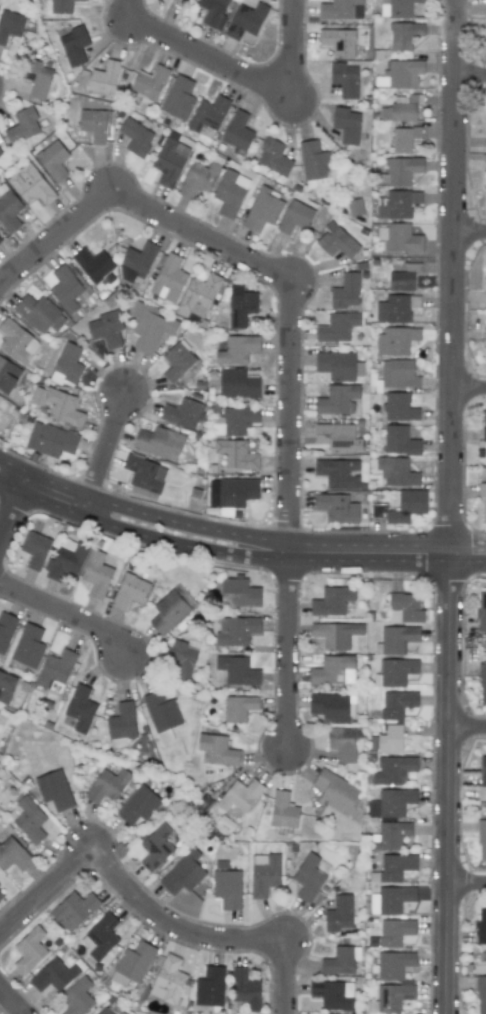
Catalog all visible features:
building: (61, 6)
building: (398, 8)
building: (341, 9)
building: (213, 12)
building: (246, 20)
building: (10, 25)
building: (404, 35)
building: (338, 42)
building: (74, 45)
road: (245, 74)
building: (400, 74)
road: (472, 74)
building: (37, 78)
building: (104, 78)
building: (345, 79)
building: (149, 82)
building: (178, 98)
building: (401, 108)
building: (209, 114)
building: (93, 124)
building: (346, 124)
building: (22, 126)
building: (237, 131)
building: (136, 137)
building: (403, 138)
building: (0, 154)
building: (273, 157)
building: (53, 160)
building: (170, 160)
building: (485, 163)
building: (315, 165)
building: (402, 170)
building: (198, 179)
building: (30, 185)
building: (230, 192)
building: (485, 197)
building: (398, 204)
building: (262, 210)
building: (9, 211)
building: (295, 217)
road: (471, 228)
building: (399, 237)
building: (0, 240)
building: (336, 241)
building: (139, 257)
road: (260, 258)
building: (93, 264)
building: (485, 265)
building: (404, 277)
building: (169, 279)
building: (67, 290)
building: (346, 291)
building: (199, 295)
building: (485, 297)
building: (241, 306)
building: (396, 308)
building: (37, 311)
building: (337, 327)
building: (106, 328)
building: (152, 328)
building: (485, 336)
building: (396, 340)
building: (17, 342)
building: (237, 350)
building: (178, 361)
building: (336, 365)
building: (67, 366)
building: (399, 374)
building: (8, 375)
building: (238, 383)
road: (470, 385)
building: (338, 399)
building: (59, 406)
building: (400, 407)
building: (0, 412)
building: (183, 413)
building: (235, 421)
building: (484, 426)
building: (338, 437)
building: (51, 440)
building: (400, 441)
building: (159, 443)
road: (107, 454)
building: (237, 454)
building: (397, 471)
building: (337, 472)
building: (145, 473)
building: (236, 492)
building: (483, 500)
road: (13, 503)
road: (127, 505)
building: (408, 506)
road: (453, 506)
building: (337, 508)
road: (128, 528)
building: (35, 549)
road: (371, 555)
building: (66, 560)
building: (96, 575)
building: (130, 591)
building: (239, 593)
building: (332, 601)
building: (405, 608)
road: (67, 612)
building: (168, 612)
building: (481, 612)
building: (6, 630)
building: (236, 631)
building: (336, 634)
building: (397, 639)
building: (28, 646)
road: (290, 651)
building: (183, 657)
building: (237, 670)
building: (333, 670)
building: (55, 671)
building: (394, 672)
building: (483, 684)
building: (6, 686)
building: (397, 703)
building: (332, 707)
building: (80, 708)
building: (238, 708)
building: (161, 715)
building: (121, 725)
road: (468, 727)
building: (387, 740)
building: (342, 743)
building: (216, 750)
building: (393, 769)
building: (483, 771)
building: (107, 785)
building: (53, 790)
building: (336, 791)
building: (240, 795)
building: (391, 803)
building: (138, 805)
building: (283, 810)
building: (27, 820)
building: (391, 836)
building: (482, 839)
building: (155, 847)
building: (13, 854)
building: (395, 867)
building: (183, 873)
building: (264, 874)
building: (310, 876)
road: (467, 882)
building: (227, 889)
building: (1, 895)
building: (391, 899)
road: (149, 907)
building: (74, 910)
building: (339, 914)
building: (480, 926)
building: (393, 933)
building: (101, 937)
building: (29, 950)
building: (341, 960)
building: (133, 963)
building: (54, 975)
building: (169, 980)
building: (406, 982)
building: (210, 987)
building: (245, 989)
building: (333, 994)
building: (481, 995)
building: (77, 997)
road: (13, 998)
building: (104, 1011)

